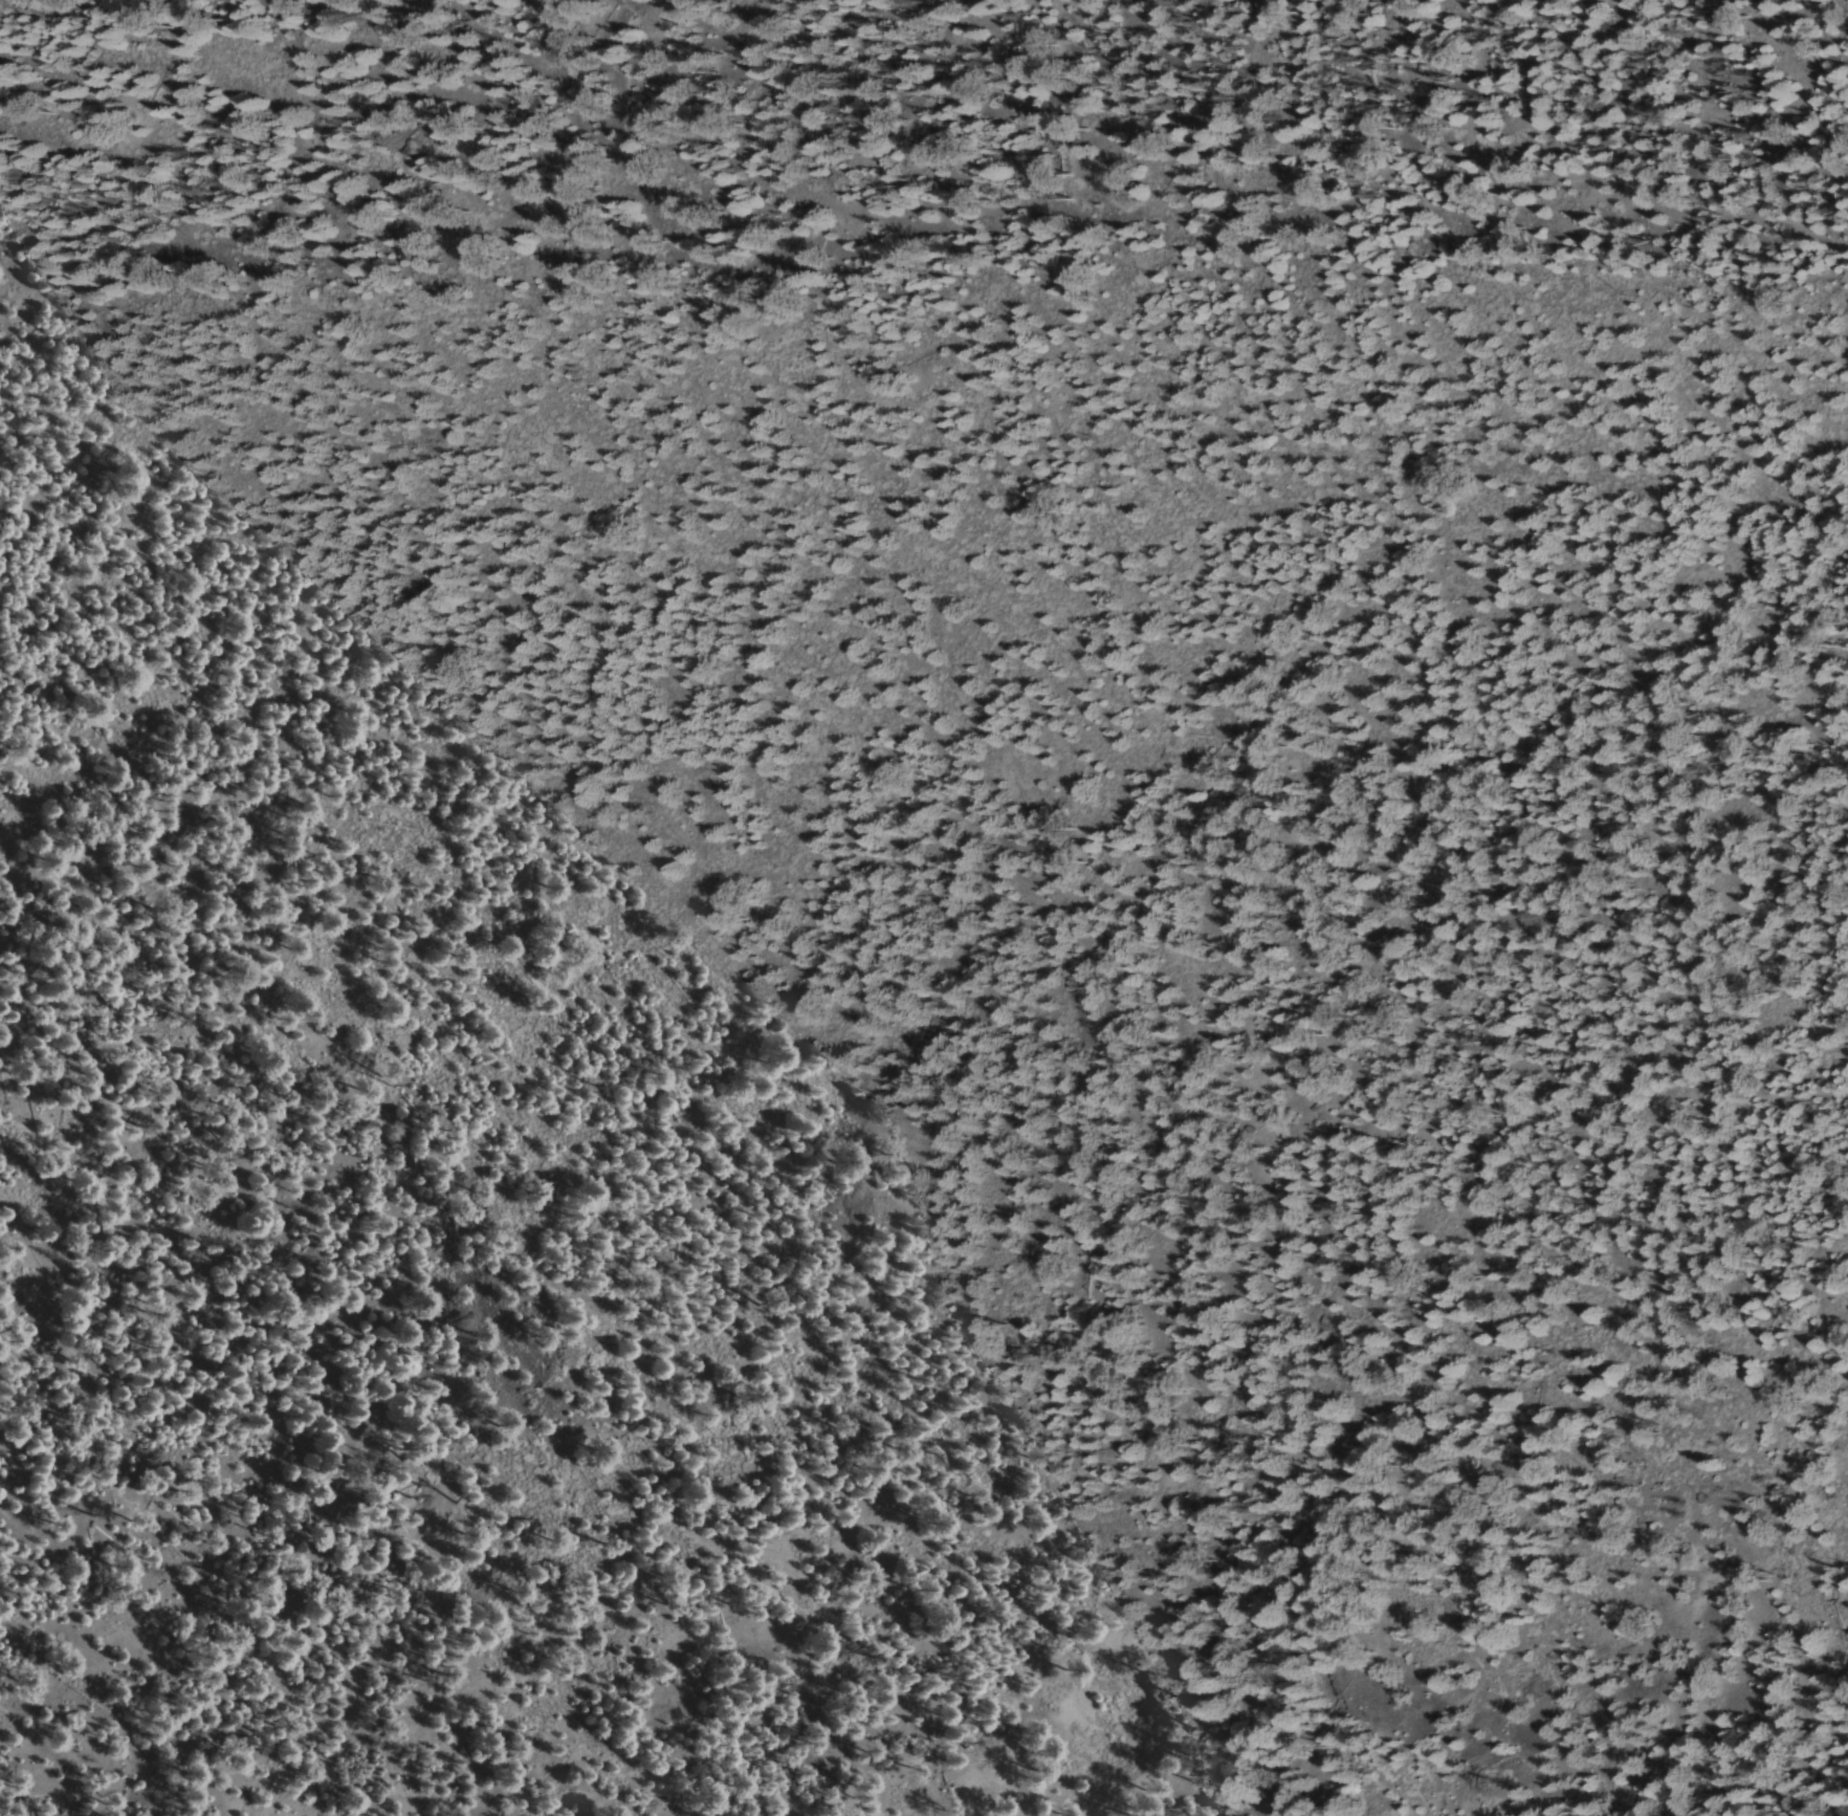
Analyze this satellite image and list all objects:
road: (1654, 147)

